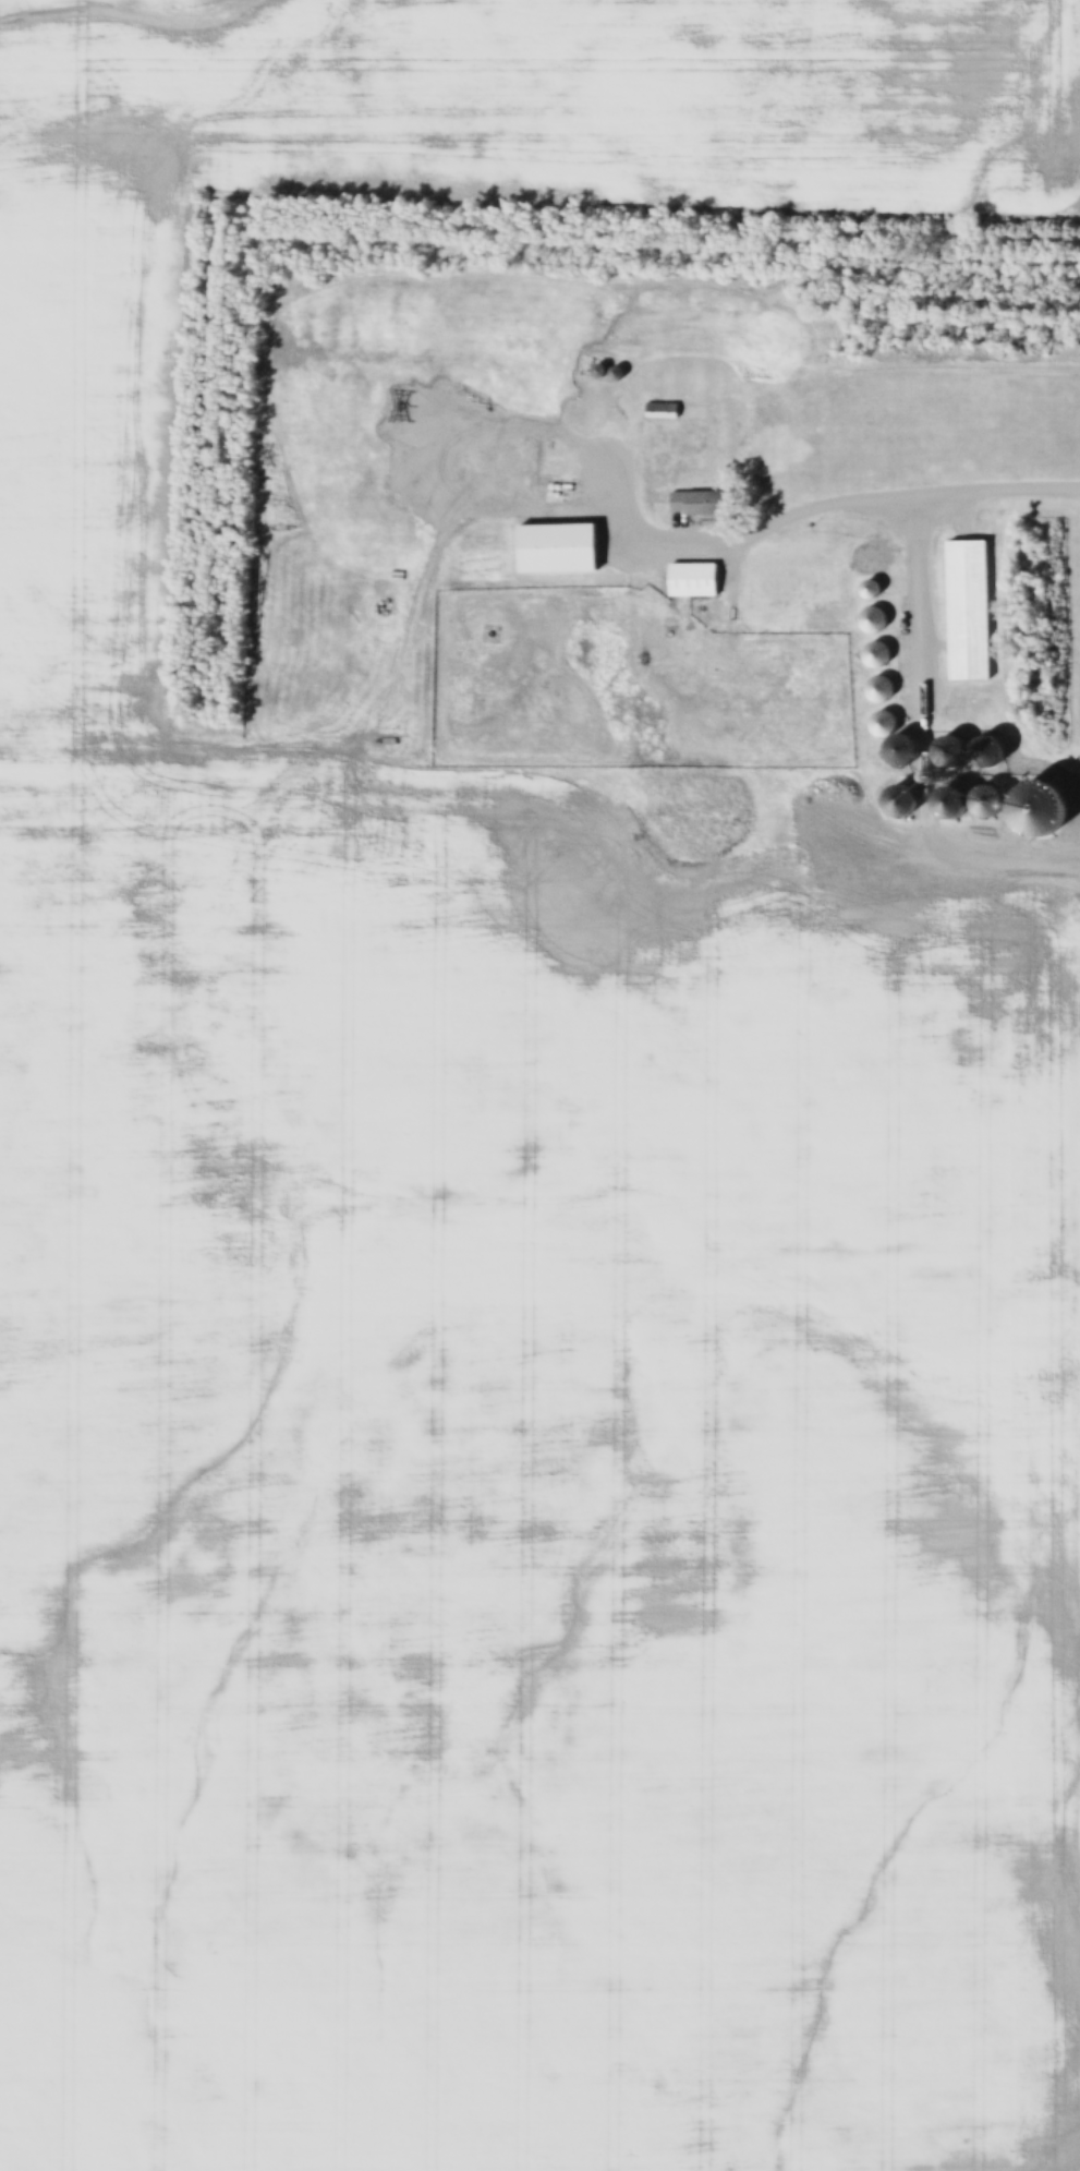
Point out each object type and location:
building: (662, 411)
building: (609, 439)
building: (316, 441)
building: (287, 471)
building: (701, 504)
road: (817, 508)
building: (560, 550)
building: (694, 581)
building: (793, 583)
building: (969, 612)
building: (768, 624)
building: (877, 692)
building: (905, 751)
building: (990, 751)
building: (950, 752)

